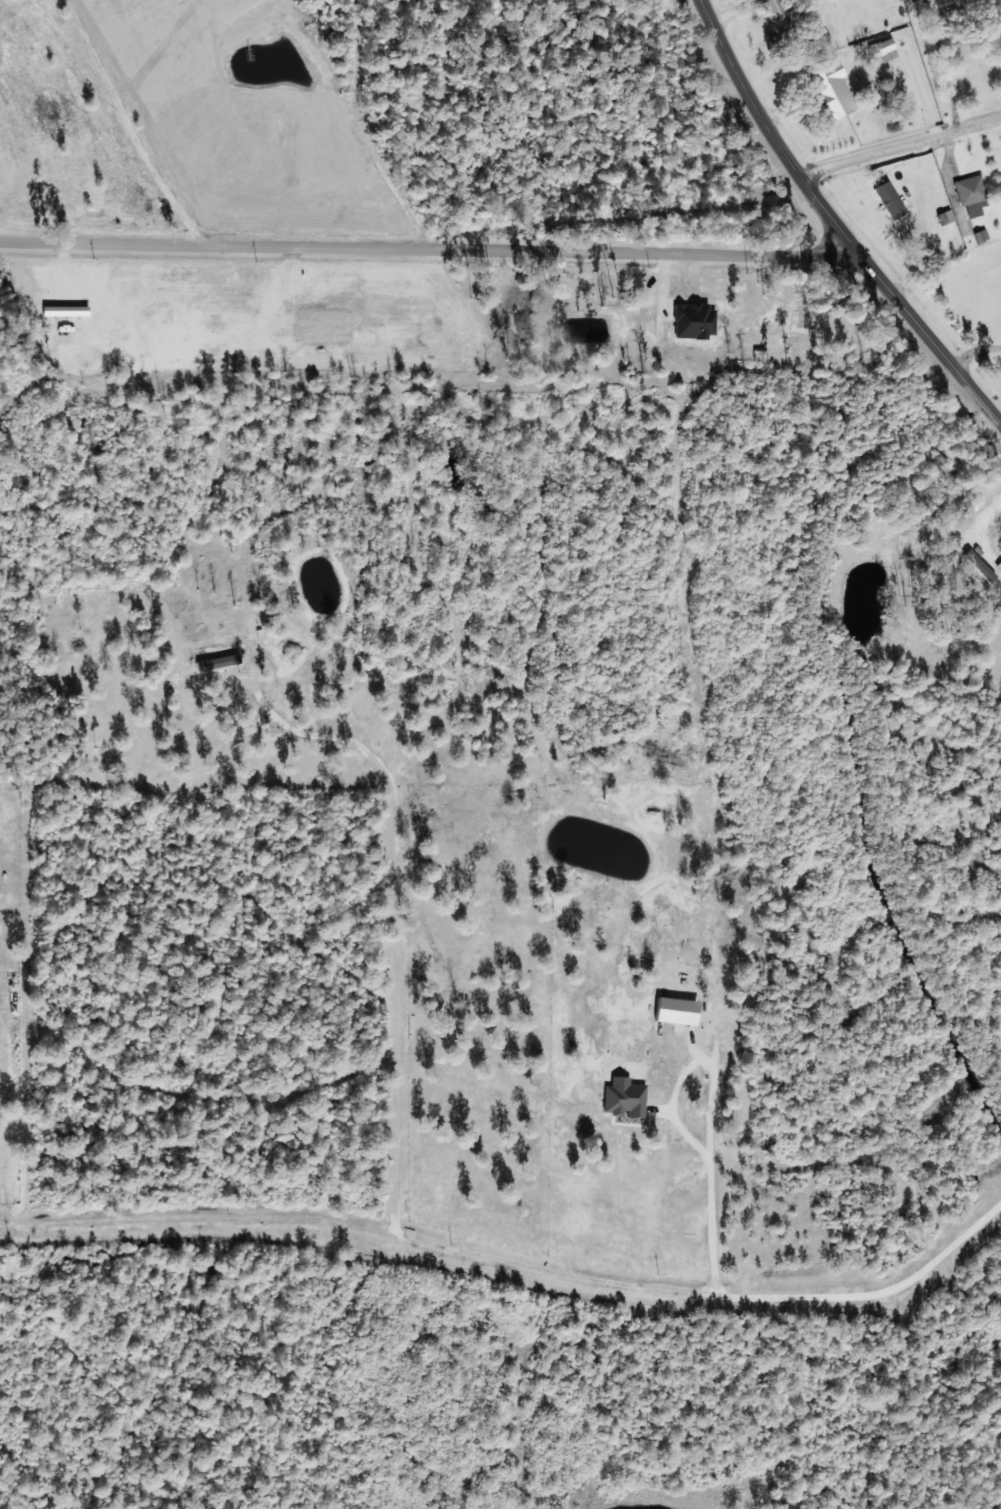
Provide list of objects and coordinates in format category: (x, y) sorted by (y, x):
building: (777, 11)
building: (883, 49)
building: (834, 89)
road: (897, 143)
building: (970, 193)
building: (889, 199)
road: (833, 224)
building: (980, 235)
road: (431, 253)
building: (694, 319)
building: (979, 565)
building: (218, 661)
building: (677, 1010)

